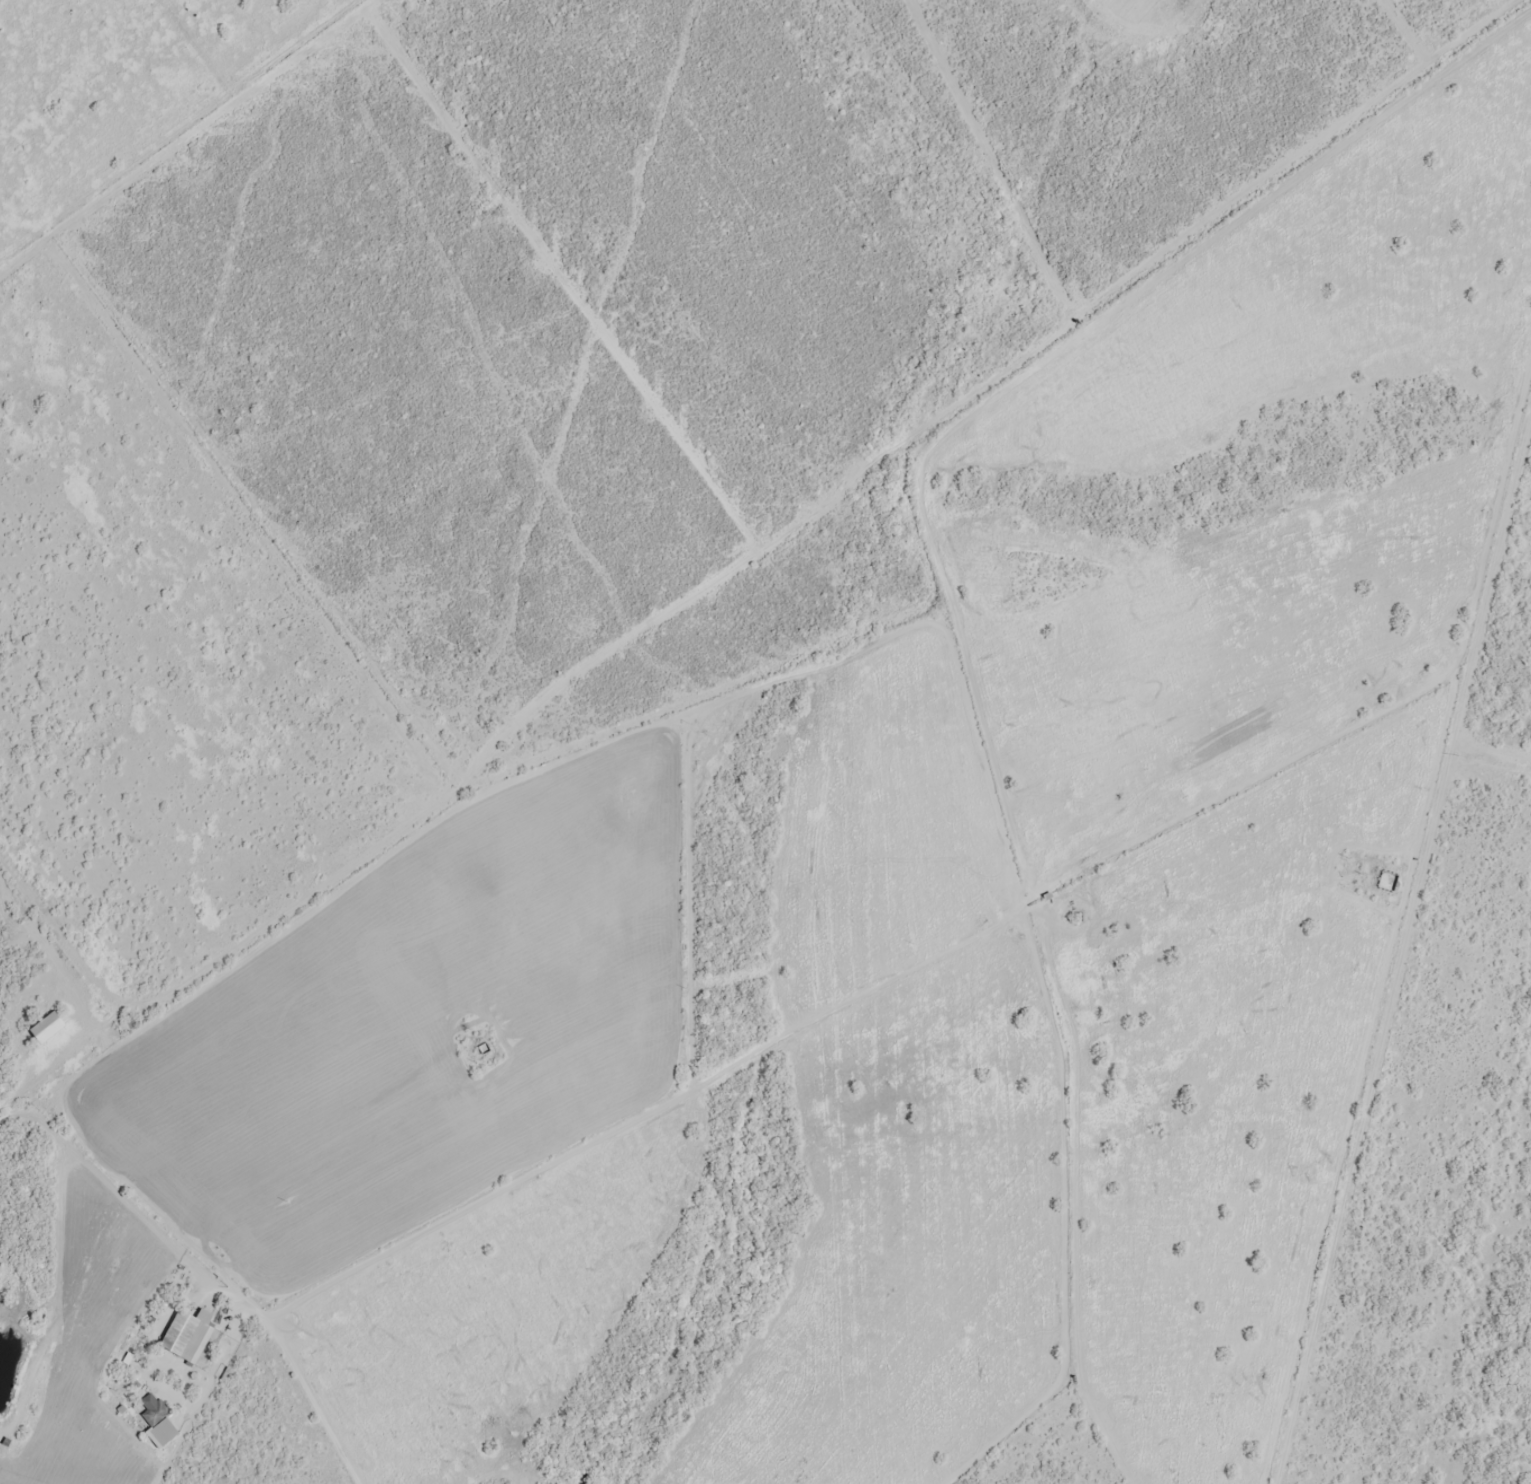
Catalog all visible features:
building: (48, 1026)
building: (182, 1333)
building: (165, 1433)

